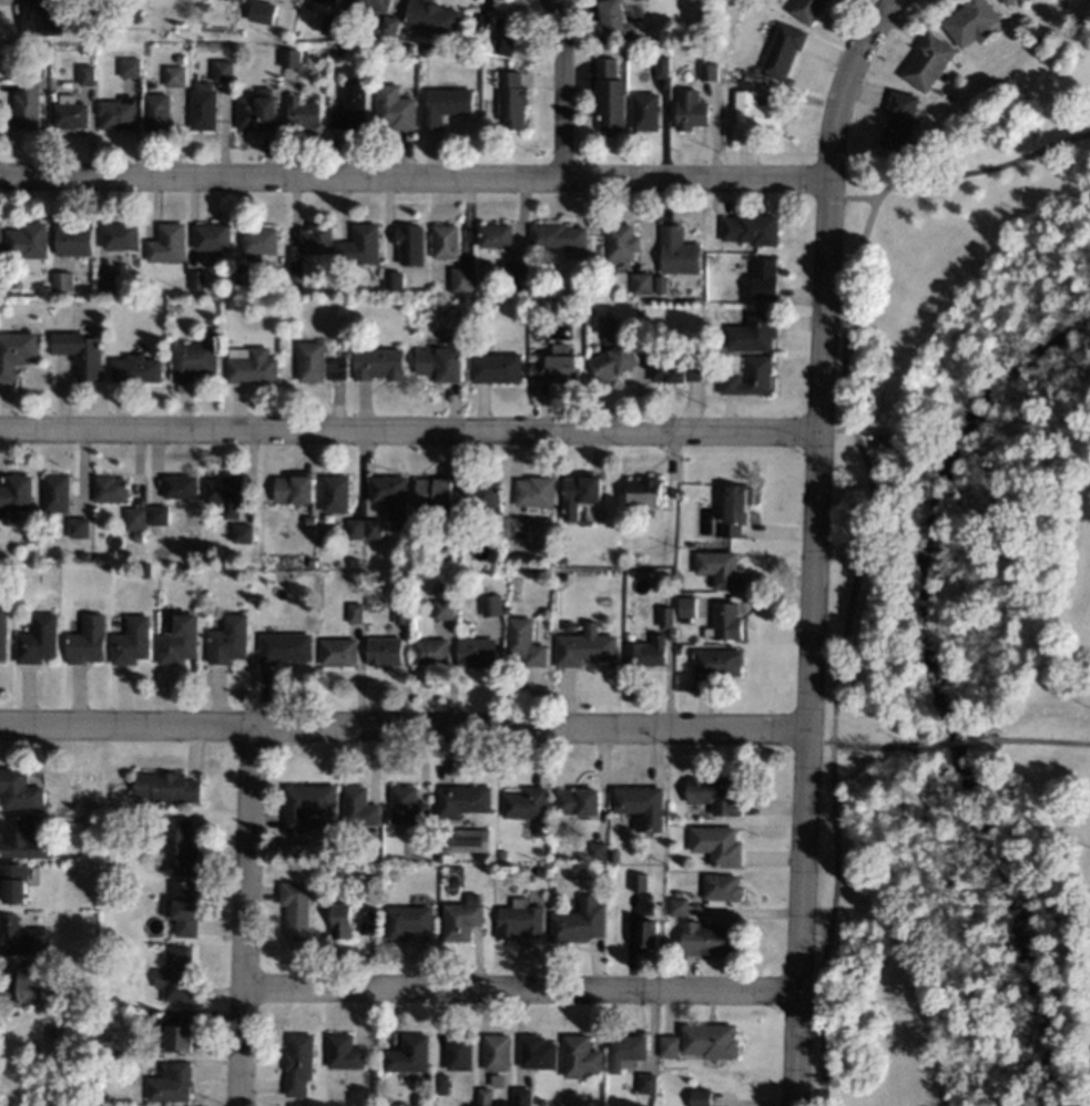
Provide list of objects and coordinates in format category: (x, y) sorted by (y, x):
building: (108, 0)
building: (242, 0)
building: (1007, 1)
building: (325, 2)
building: (366, 7)
building: (806, 9)
building: (258, 10)
building: (134, 17)
building: (432, 17)
building: (611, 17)
building: (41, 18)
building: (478, 21)
building: (971, 22)
building: (332, 24)
building: (390, 24)
building: (347, 29)
building: (505, 35)
building: (1040, 40)
building: (83, 48)
building: (425, 49)
building: (782, 49)
building: (179, 57)
building: (292, 58)
building: (338, 58)
building: (927, 61)
building: (607, 65)
building: (663, 65)
building: (129, 66)
building: (222, 70)
building: (709, 70)
building: (85, 74)
building: (174, 75)
road: (843, 82)
road: (560, 84)
building: (511, 99)
building: (26, 102)
building: (610, 103)
building: (445, 104)
building: (352, 105)
building: (395, 107)
building: (203, 109)
building: (256, 110)
building: (691, 110)
building: (155, 111)
building: (645, 111)
building: (69, 112)
building: (303, 112)
building: (116, 113)
building: (753, 116)
building: (898, 121)
building: (914, 145)
road: (412, 176)
road: (834, 196)
road: (858, 197)
building: (751, 227)
building: (0, 235)
building: (120, 235)
building: (213, 235)
building: (497, 235)
building: (559, 235)
building: (316, 238)
building: (27, 239)
building: (72, 239)
building: (258, 239)
building: (446, 240)
building: (621, 242)
building: (167, 243)
building: (410, 243)
building: (360, 244)
building: (679, 250)
building: (296, 269)
building: (515, 269)
building: (242, 276)
building: (764, 278)
building: (196, 279)
building: (461, 279)
building: (393, 280)
building: (61, 281)
building: (105, 281)
building: (642, 283)
building: (661, 285)
building: (534, 301)
building: (752, 331)
building: (712, 347)
building: (14, 351)
building: (79, 352)
building: (613, 356)
building: (191, 359)
building: (310, 361)
building: (439, 361)
building: (377, 362)
building: (556, 365)
building: (253, 366)
building: (495, 367)
building: (134, 368)
building: (335, 368)
building: (674, 368)
building: (748, 377)
road: (408, 429)
road: (853, 429)
building: (880, 443)
park: (999, 447)
building: (179, 487)
building: (110, 489)
building: (292, 489)
building: (483, 491)
building: (644, 491)
building: (432, 492)
building: (536, 492)
building: (16, 493)
building: (224, 493)
building: (334, 493)
building: (579, 493)
building: (388, 494)
building: (54, 495)
building: (733, 510)
building: (625, 511)
building: (155, 514)
building: (133, 518)
building: (309, 520)
building: (78, 528)
building: (517, 528)
building: (353, 529)
building: (371, 529)
building: (241, 533)
building: (459, 535)
road: (864, 535)
building: (29, 536)
building: (136, 536)
building: (691, 544)
building: (713, 545)
building: (82, 554)
building: (354, 562)
building: (310, 563)
building: (177, 566)
building: (720, 569)
building: (563, 577)
building: (490, 603)
building: (685, 607)
building: (442, 608)
building: (506, 608)
building: (354, 612)
building: (399, 613)
building: (665, 616)
building: (723, 621)
building: (2, 631)
building: (37, 639)
building: (176, 639)
building: (227, 639)
building: (85, 641)
building: (130, 641)
road: (808, 641)
building: (523, 642)
building: (582, 645)
building: (283, 647)
building: (675, 649)
building: (383, 651)
building: (429, 651)
building: (337, 652)
building: (476, 652)
building: (644, 652)
building: (716, 662)
river: (946, 689)
road: (403, 726)
road: (1038, 740)
road: (818, 741)
road: (951, 743)
road: (873, 747)
building: (165, 786)
building: (19, 789)
building: (715, 793)
building: (461, 800)
building: (578, 800)
building: (307, 802)
building: (526, 802)
building: (640, 806)
building: (359, 807)
building: (409, 808)
building: (21, 838)
park: (901, 838)
building: (467, 839)
building: (717, 843)
building: (179, 848)
building: (597, 851)
building: (501, 853)
building: (438, 856)
building: (613, 856)
building: (373, 874)
building: (13, 881)
building: (638, 881)
building: (721, 888)
building: (119, 902)
building: (679, 905)
building: (296, 909)
building: (182, 910)
road: (243, 915)
building: (461, 918)
building: (340, 920)
building: (519, 920)
building: (406, 921)
building: (579, 921)
building: (368, 924)
building: (645, 934)
building: (22, 938)
building: (707, 938)
building: (175, 973)
building: (23, 985)
road: (519, 989)
building: (88, 1001)
building: (103, 1030)
building: (174, 1032)
building: (710, 1040)
building: (669, 1046)
building: (344, 1051)
building: (625, 1051)
building: (496, 1052)
building: (537, 1052)
building: (458, 1053)
building: (408, 1054)
building: (580, 1056)
building: (298, 1063)
building: (496, 1079)
building: (646, 1082)
building: (440, 1083)
building: (169, 1084)
building: (483, 1096)
building: (521, 1097)
building: (700, 1097)
building: (384, 1099)
building: (541, 1102)

